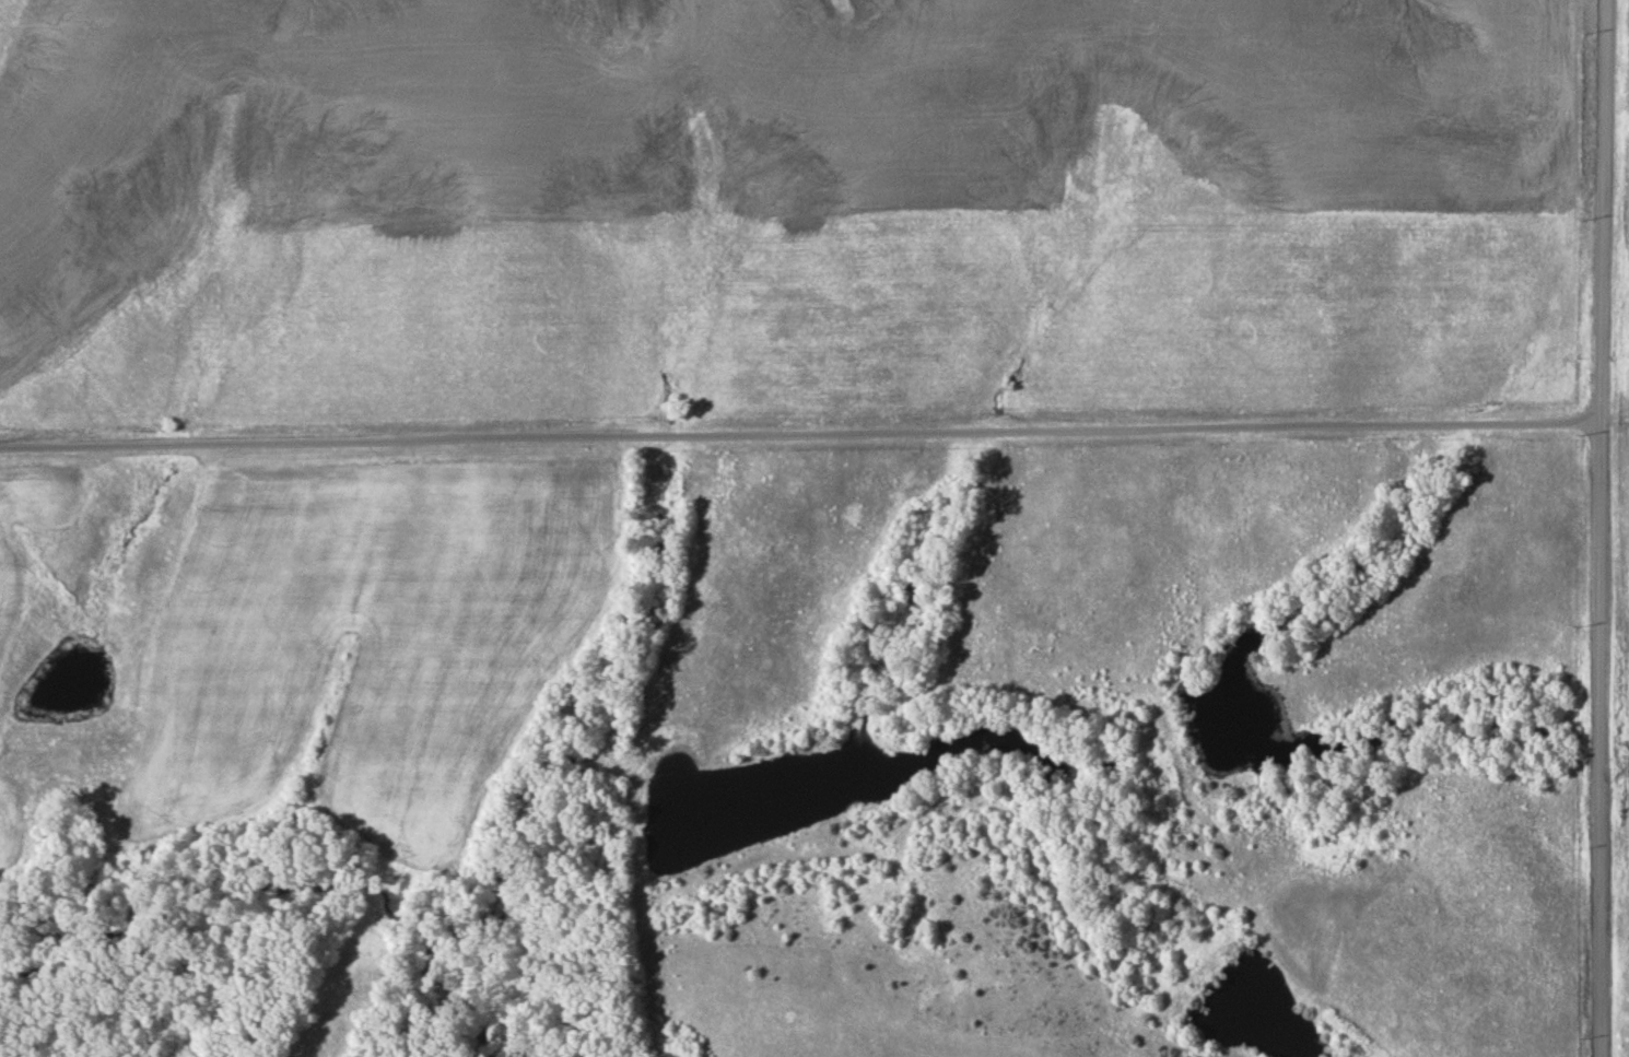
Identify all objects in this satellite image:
road: (801, 436)
road: (1604, 528)

